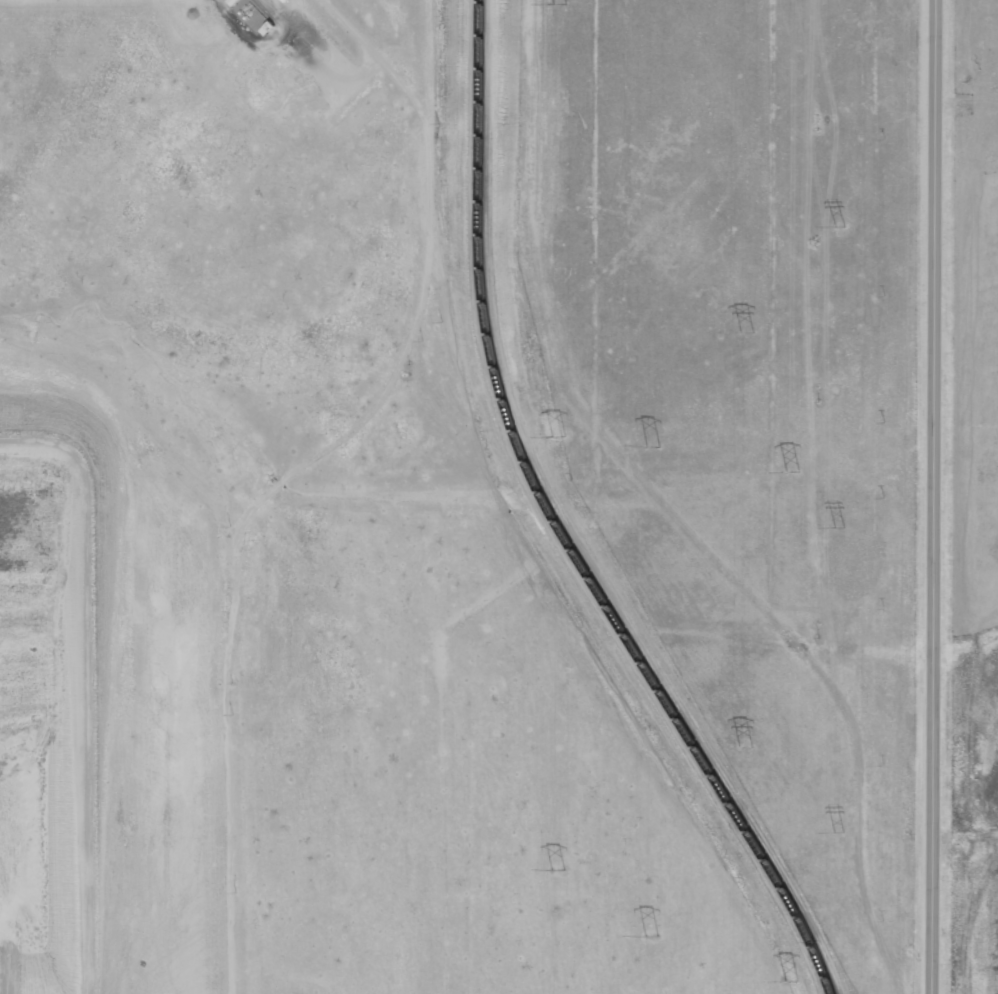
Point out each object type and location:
building: (233, 2)
power tower: (556, 4)
power tower: (832, 228)
power tower: (740, 332)
power tower: (556, 436)
power tower: (647, 447)
power tower: (787, 473)
power plant: (451, 497)
road: (927, 497)
power tower: (834, 525)
railway: (552, 528)
power tower: (739, 749)
power tower: (833, 831)
power tower: (554, 869)
power tower: (646, 936)
power tower: (786, 981)

